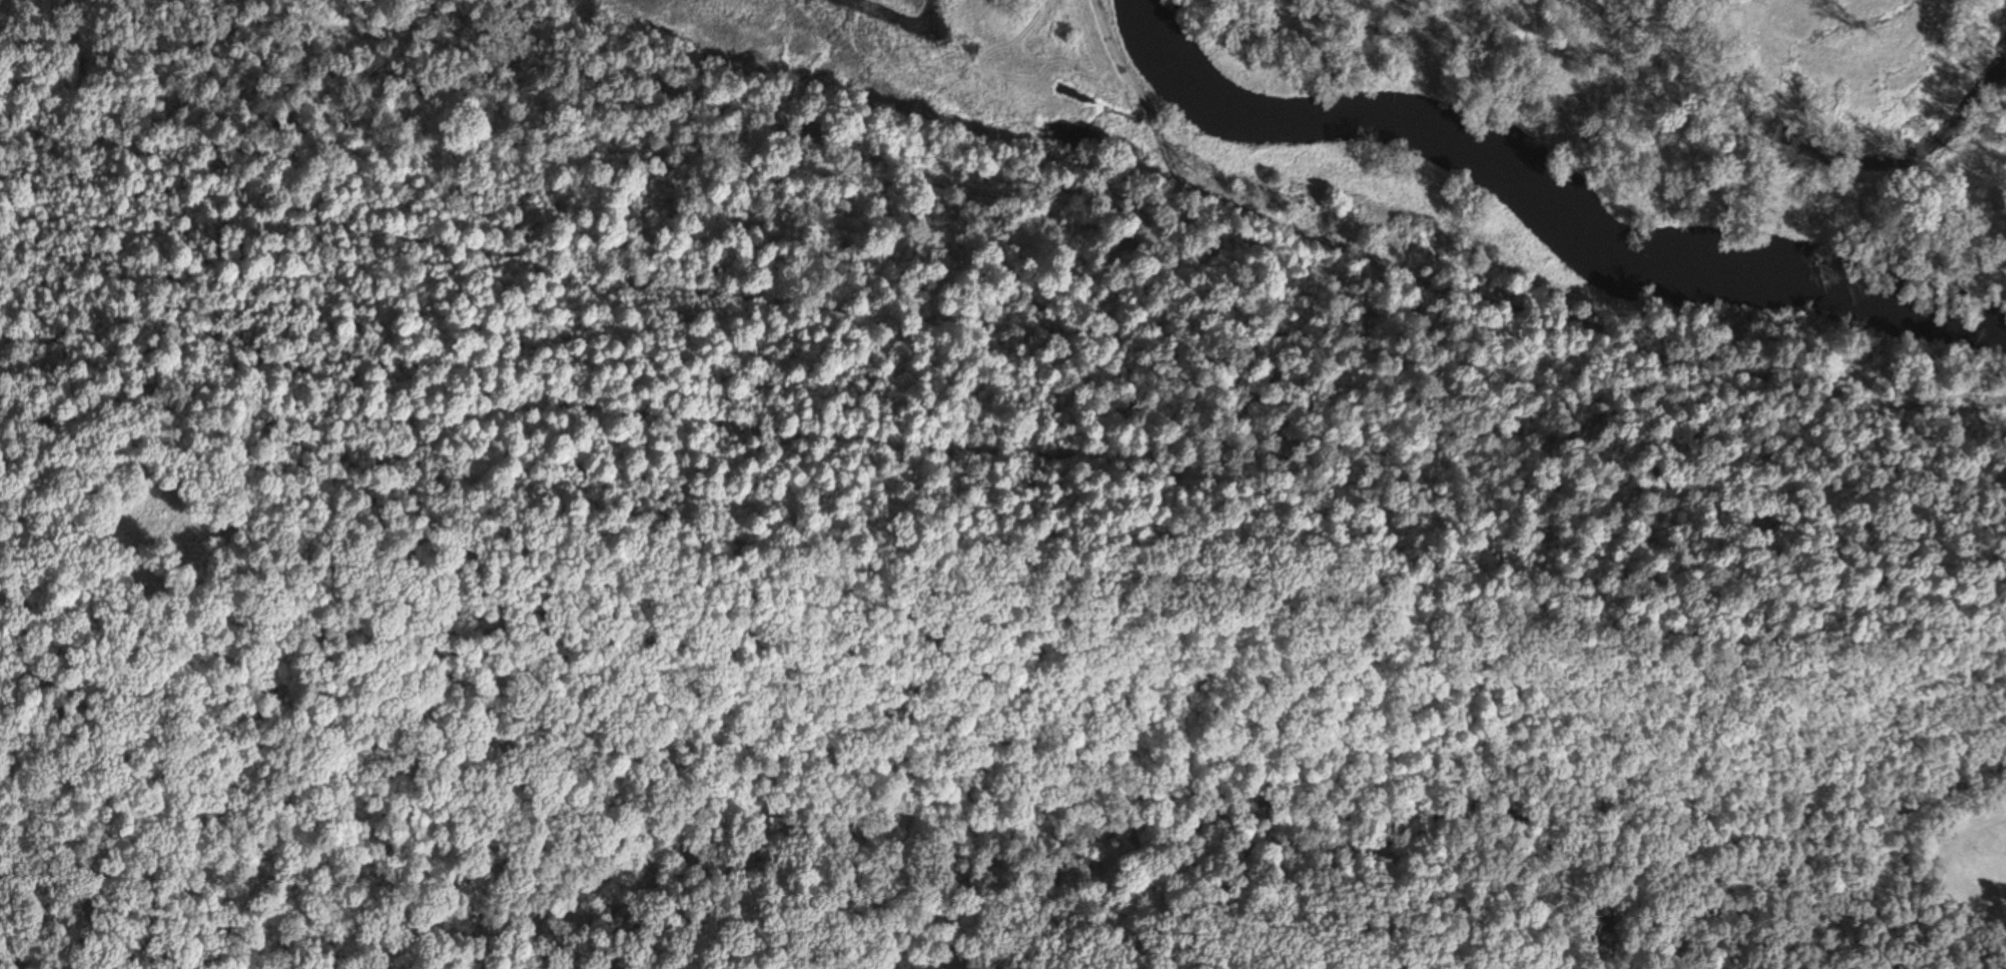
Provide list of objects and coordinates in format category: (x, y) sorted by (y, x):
river: (1548, 198)

